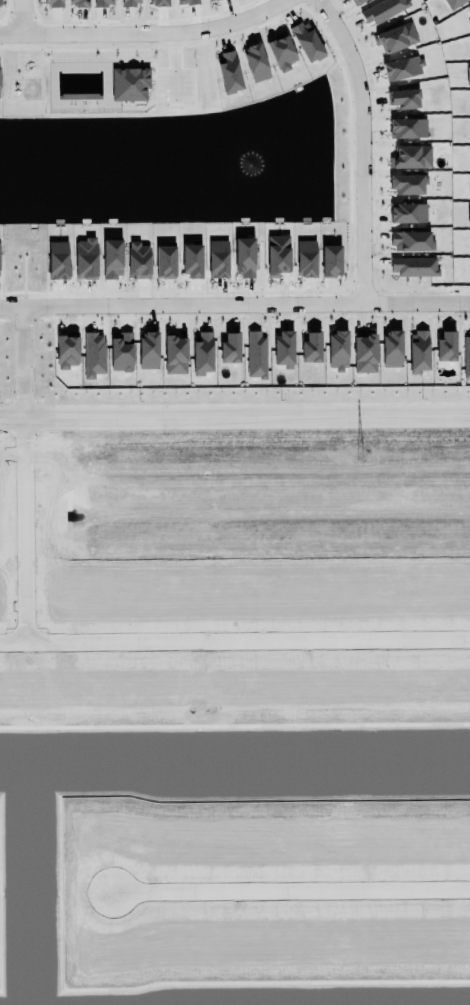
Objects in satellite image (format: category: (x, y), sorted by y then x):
building: (187, 1)
building: (212, 1)
building: (100, 2)
building: (129, 2)
building: (357, 2)
building: (0, 3)
building: (53, 3)
building: (78, 3)
building: (159, 3)
building: (453, 3)
building: (469, 10)
building: (382, 11)
road: (14, 17)
building: (468, 24)
road: (149, 33)
building: (396, 38)
building: (469, 40)
building: (307, 42)
building: (279, 52)
building: (255, 61)
building: (403, 69)
building: (229, 72)
building: (468, 76)
building: (130, 84)
building: (404, 99)
building: (408, 129)
road: (363, 149)
building: (411, 157)
building: (406, 184)
building: (408, 209)
building: (468, 216)
building: (411, 241)
building: (243, 253)
building: (278, 255)
building: (85, 259)
building: (112, 259)
building: (165, 259)
building: (218, 259)
building: (306, 259)
building: (57, 260)
building: (138, 261)
building: (192, 261)
building: (331, 261)
building: (414, 266)
road: (235, 308)
building: (230, 343)
building: (283, 344)
building: (392, 345)
building: (446, 347)
building: (311, 348)
building: (149, 350)
building: (338, 350)
building: (67, 351)
building: (364, 351)
building: (123, 352)
building: (418, 352)
building: (202, 354)
building: (94, 355)
building: (175, 355)
building: (256, 355)
building: (466, 356)
road: (9, 360)
road: (234, 409)
power tower: (359, 453)
road: (23, 525)
road: (246, 638)
road: (11, 640)
road: (290, 890)

